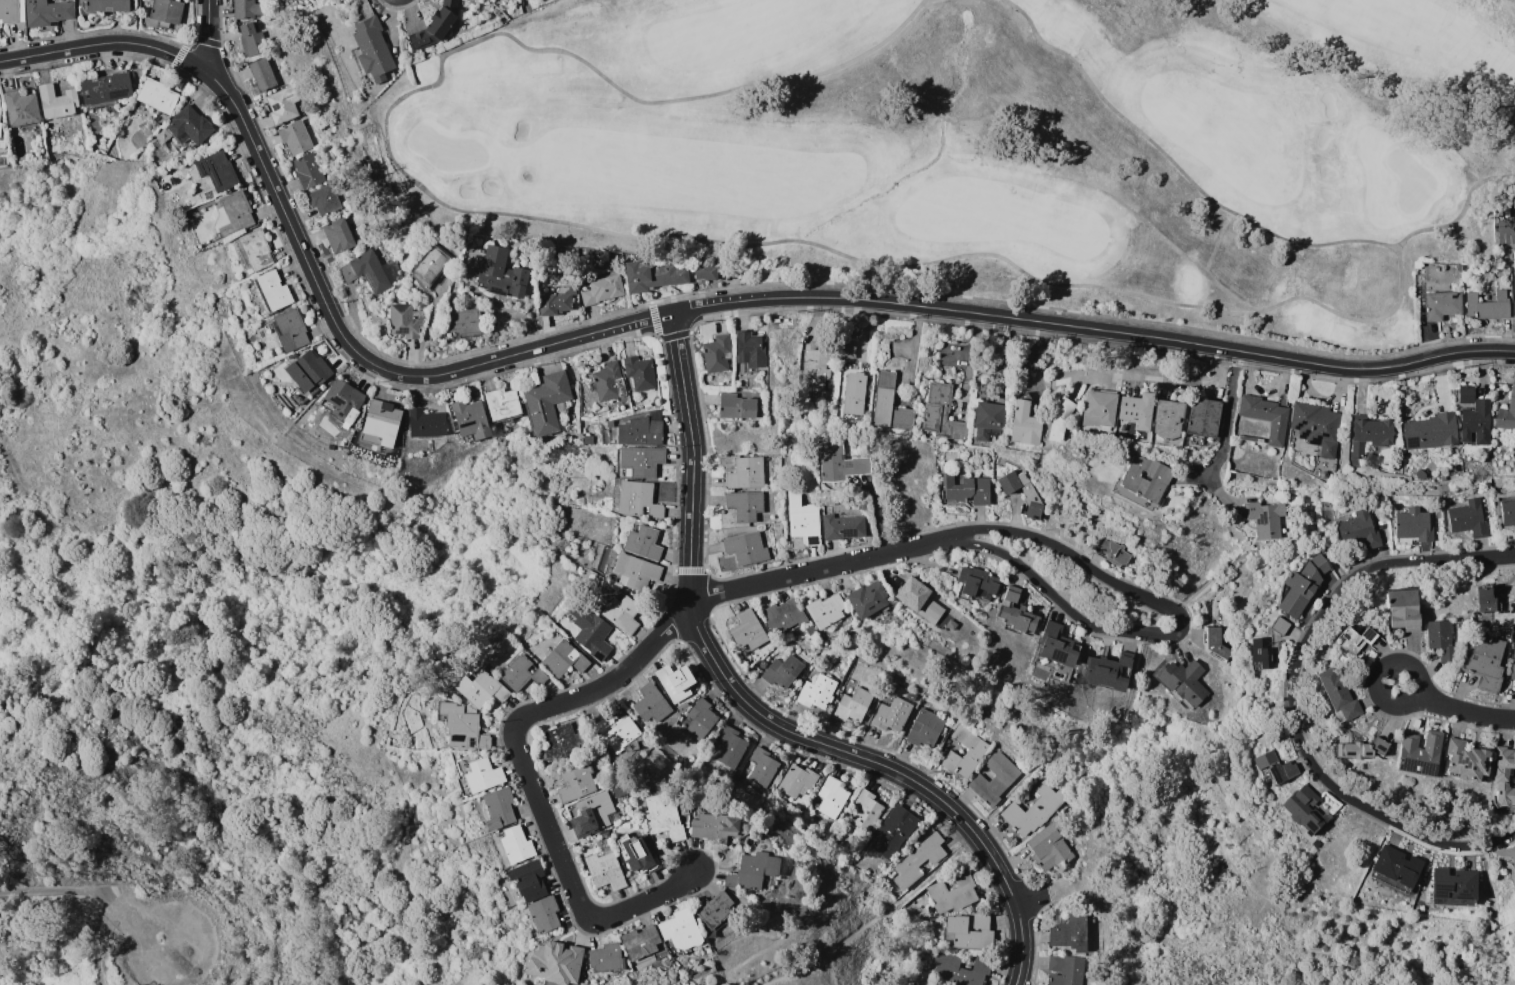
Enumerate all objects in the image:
building: (106, 5)
building: (246, 8)
building: (11, 11)
building: (47, 12)
building: (166, 12)
building: (435, 26)
road: (207, 35)
building: (249, 41)
building: (371, 49)
building: (262, 74)
building: (105, 89)
building: (0, 95)
building: (156, 96)
building: (56, 101)
building: (281, 106)
building: (21, 107)
building: (0, 127)
building: (188, 127)
building: (294, 137)
building: (2, 145)
park: (991, 148)
building: (217, 170)
building: (308, 170)
building: (324, 199)
building: (233, 214)
road: (1507, 224)
building: (338, 235)
building: (252, 250)
building: (430, 265)
building: (705, 270)
building: (370, 271)
building: (1506, 272)
building: (501, 273)
building: (653, 275)
building: (1514, 276)
building: (601, 289)
building: (273, 290)
building: (556, 302)
building: (1441, 304)
building: (1487, 306)
road: (665, 313)
building: (405, 320)
building: (463, 323)
road: (430, 325)
building: (291, 330)
building: (847, 350)
building: (749, 351)
building: (716, 353)
building: (817, 369)
building: (308, 370)
building: (639, 372)
road: (1159, 376)
building: (607, 382)
building: (853, 400)
building: (342, 402)
building: (546, 403)
building: (502, 404)
building: (889, 404)
building: (736, 406)
building: (1099, 408)
building: (1137, 410)
building: (1507, 413)
building: (941, 415)
building: (381, 416)
building: (1266, 416)
building: (1474, 416)
building: (1203, 417)
road: (1228, 417)
building: (1060, 419)
building: (1168, 419)
building: (470, 420)
building: (988, 420)
building: (1025, 422)
building: (426, 423)
building: (1317, 426)
building: (634, 429)
building: (1431, 431)
building: (587, 439)
building: (1368, 439)
building: (640, 461)
building: (841, 462)
building: (746, 473)
building: (1420, 474)
building: (1148, 478)
building: (965, 489)
building: (1022, 493)
building: (637, 499)
building: (744, 505)
building: (1507, 507)
building: (802, 518)
building: (1265, 518)
building: (1468, 518)
building: (842, 526)
building: (1413, 527)
building: (1359, 530)
building: (643, 542)
building: (746, 548)
building: (1113, 552)
road: (1492, 556)
road: (1407, 561)
building: (635, 571)
building: (975, 581)
building: (1302, 585)
road: (707, 597)
building: (867, 598)
building: (919, 598)
building: (1486, 599)
building: (1403, 609)
building: (825, 610)
building: (1017, 613)
building: (621, 614)
building: (783, 616)
building: (1280, 625)
road: (1181, 627)
building: (747, 630)
building: (590, 631)
building: (1355, 639)
building: (1441, 640)
building: (1216, 643)
building: (1057, 645)
park: (229, 648)
building: (1261, 654)
building: (563, 658)
building: (1485, 663)
building: (763, 664)
building: (782, 671)
building: (1107, 671)
building: (1512, 671)
building: (522, 673)
road: (724, 676)
road: (1382, 677)
building: (675, 681)
building: (1182, 682)
building: (816, 691)
building: (1339, 695)
building: (650, 703)
building: (853, 704)
building: (681, 706)
building: (470, 710)
building: (892, 714)
road: (1471, 715)
building: (700, 718)
building: (925, 728)
building: (619, 731)
building: (560, 742)
building: (730, 747)
building: (1361, 749)
building: (965, 752)
building: (1419, 753)
building: (1465, 761)
building: (762, 767)
building: (1275, 767)
building: (730, 774)
road: (1319, 774)
building: (482, 775)
building: (994, 778)
building: (1504, 779)
building: (797, 780)
building: (576, 782)
building: (618, 789)
building: (832, 797)
building: (498, 808)
building: (1033, 809)
building: (1303, 809)
building: (865, 810)
building: (593, 815)
building: (663, 818)
building: (714, 827)
building: (892, 831)
building: (606, 835)
building: (516, 845)
building: (1048, 848)
building: (636, 852)
building: (918, 860)
building: (1514, 861)
building: (1514, 864)
building: (1396, 865)
building: (605, 869)
building: (752, 871)
building: (527, 880)
building: (1452, 884)
road: (1253, 888)
road: (95, 890)
road: (580, 890)
building: (952, 892)
building: (712, 912)
building: (544, 914)
road: (881, 919)
building: (680, 931)
building: (970, 932)
building: (1070, 932)
road: (1021, 939)
building: (642, 946)
road: (1505, 954)
building: (605, 958)
road: (151, 963)
building: (555, 963)
park: (794, 963)
building: (960, 968)
building: (1065, 970)

